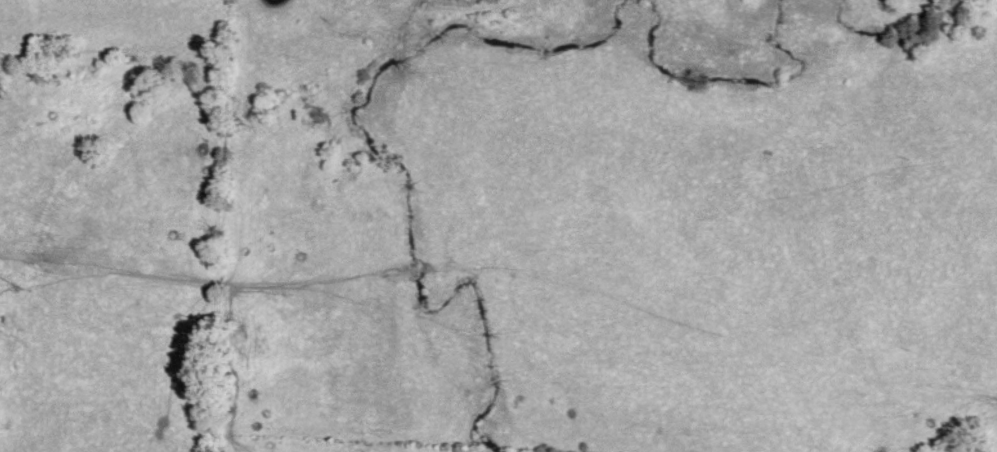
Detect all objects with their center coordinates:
road: (996, 449)

